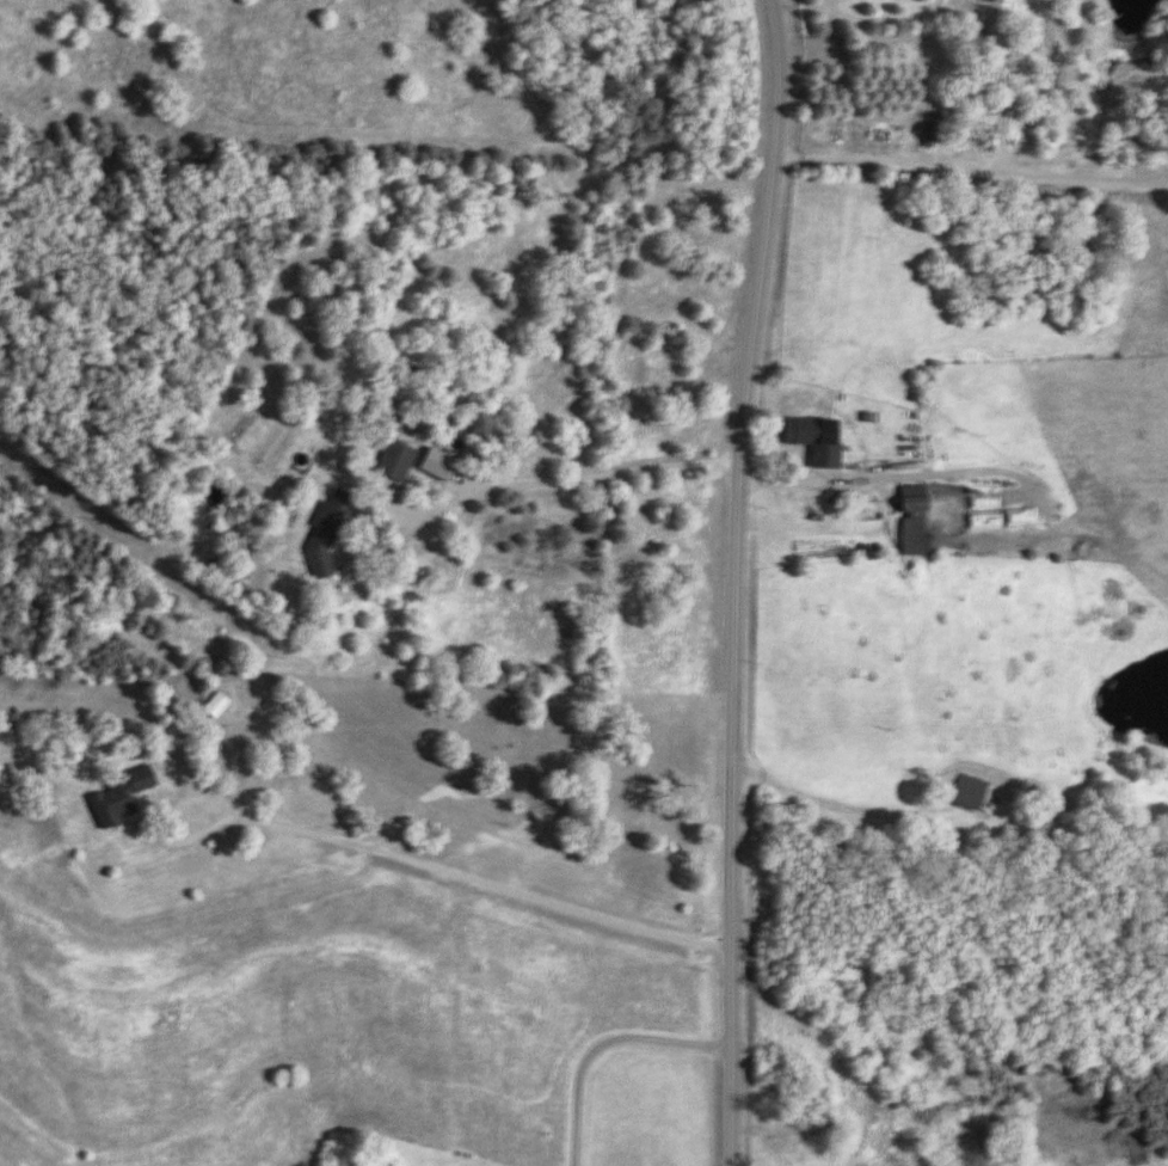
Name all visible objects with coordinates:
building: (930, 136)
building: (809, 432)
building: (396, 459)
road: (531, 481)
building: (911, 521)
building: (328, 534)
road: (734, 582)
building: (215, 705)
building: (969, 791)
building: (117, 797)
road: (816, 799)
road: (389, 851)
road: (596, 1044)

